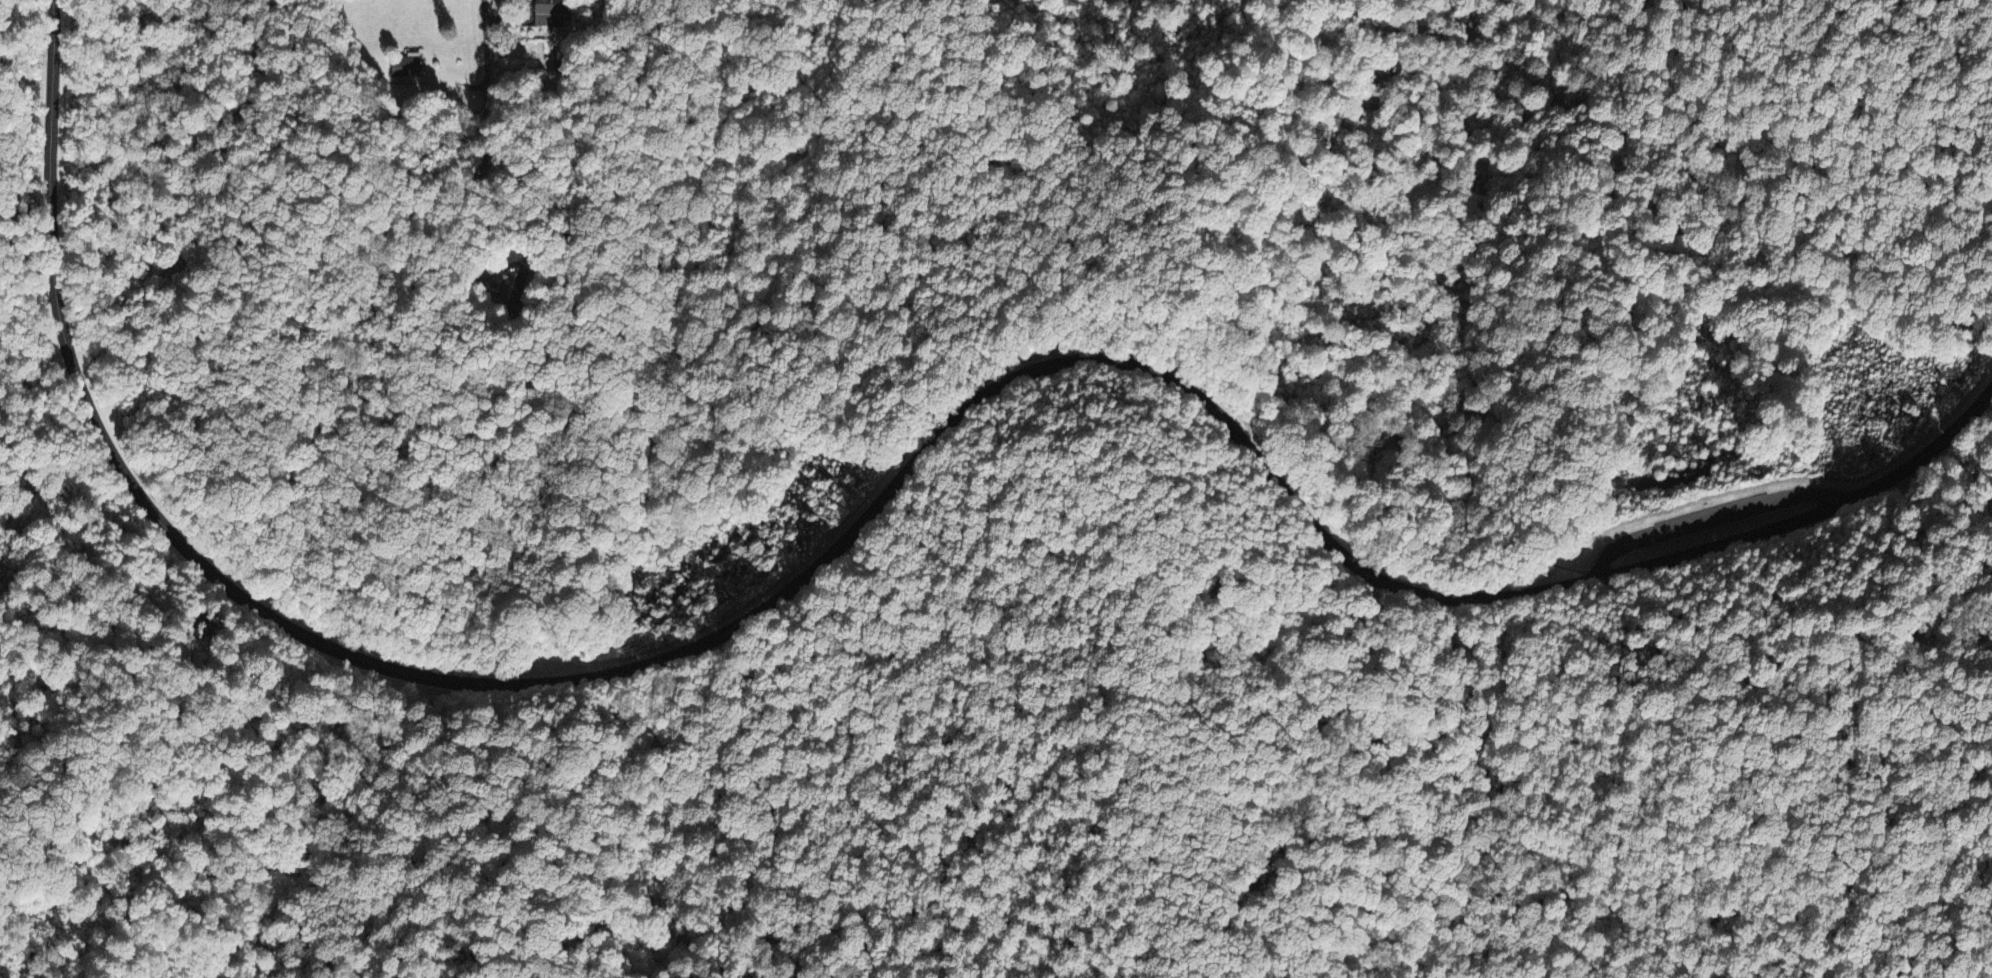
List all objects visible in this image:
building: (549, 14)
building: (408, 68)
road: (487, 83)
road: (1690, 468)
parking lot: (1680, 472)
road: (856, 527)
road: (1302, 807)
road: (251, 861)

